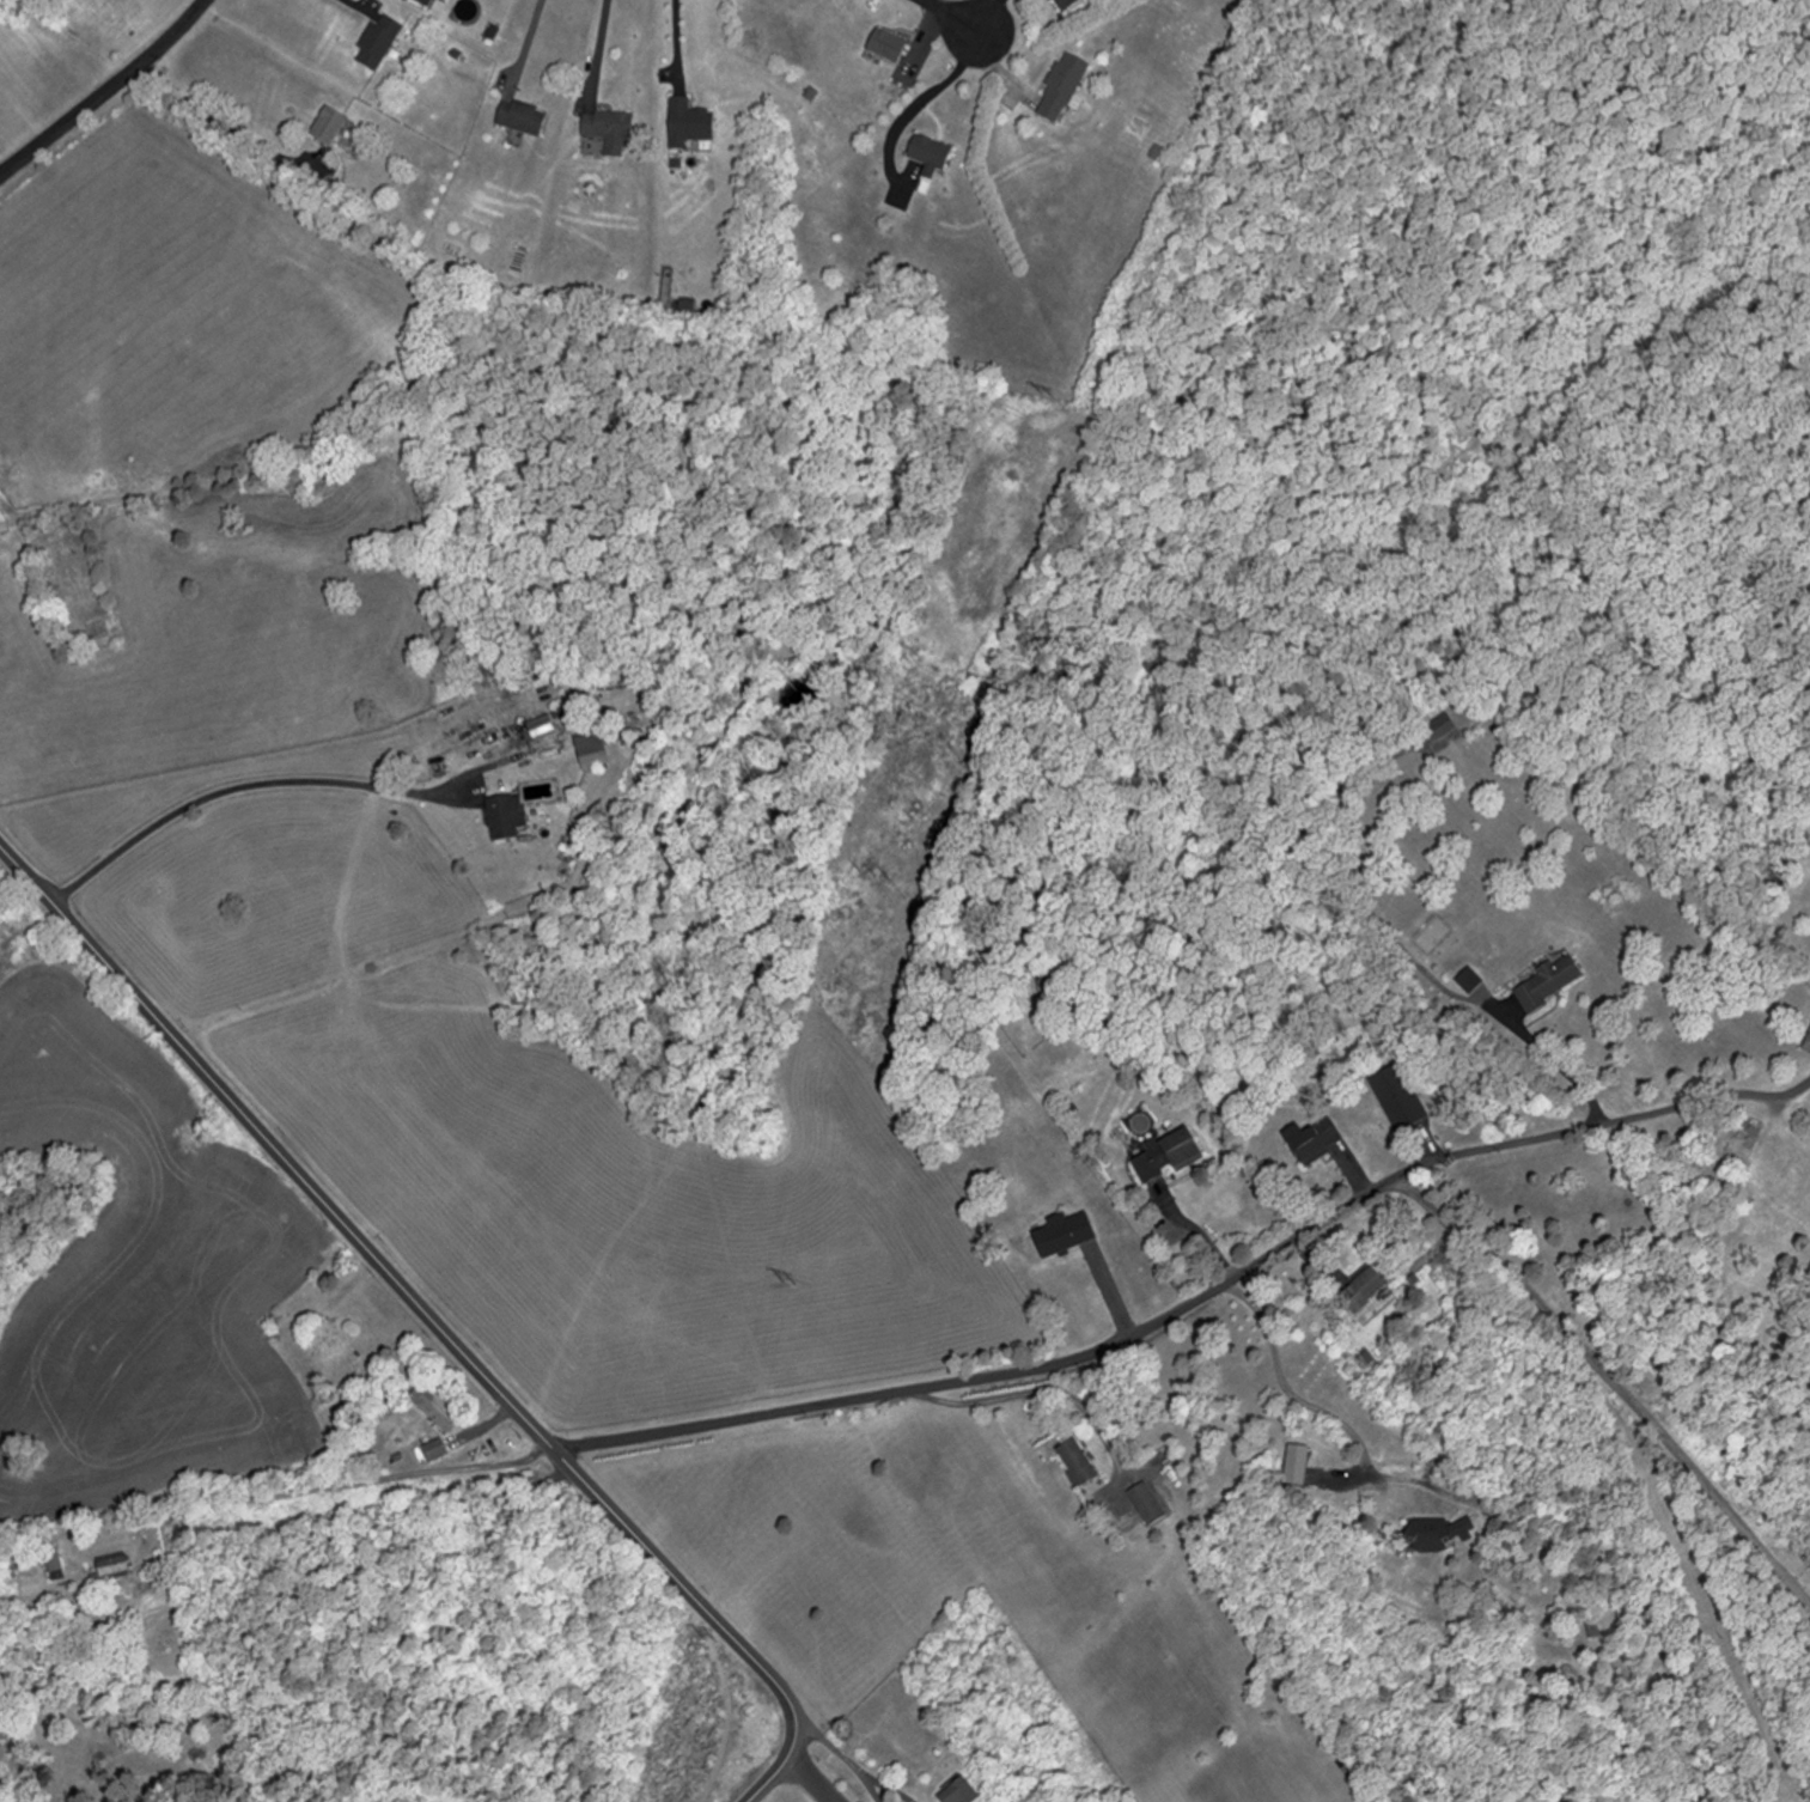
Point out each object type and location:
road: (356, 7)
road: (956, 16)
road: (525, 41)
road: (681, 45)
road: (601, 49)
road: (104, 90)
road: (224, 121)
power tower: (1047, 395)
road: (243, 781)
power tower: (876, 877)
road: (1410, 956)
road: (276, 1145)
road: (1195, 1232)
power tower: (790, 1285)
road: (1194, 1299)
road: (1616, 1378)
road: (1290, 1383)
road: (1046, 1388)
road: (331, 1479)
road: (695, 1594)
road: (837, 1746)
road: (769, 1780)
road: (813, 1780)
road: (896, 1789)
road: (878, 1790)

